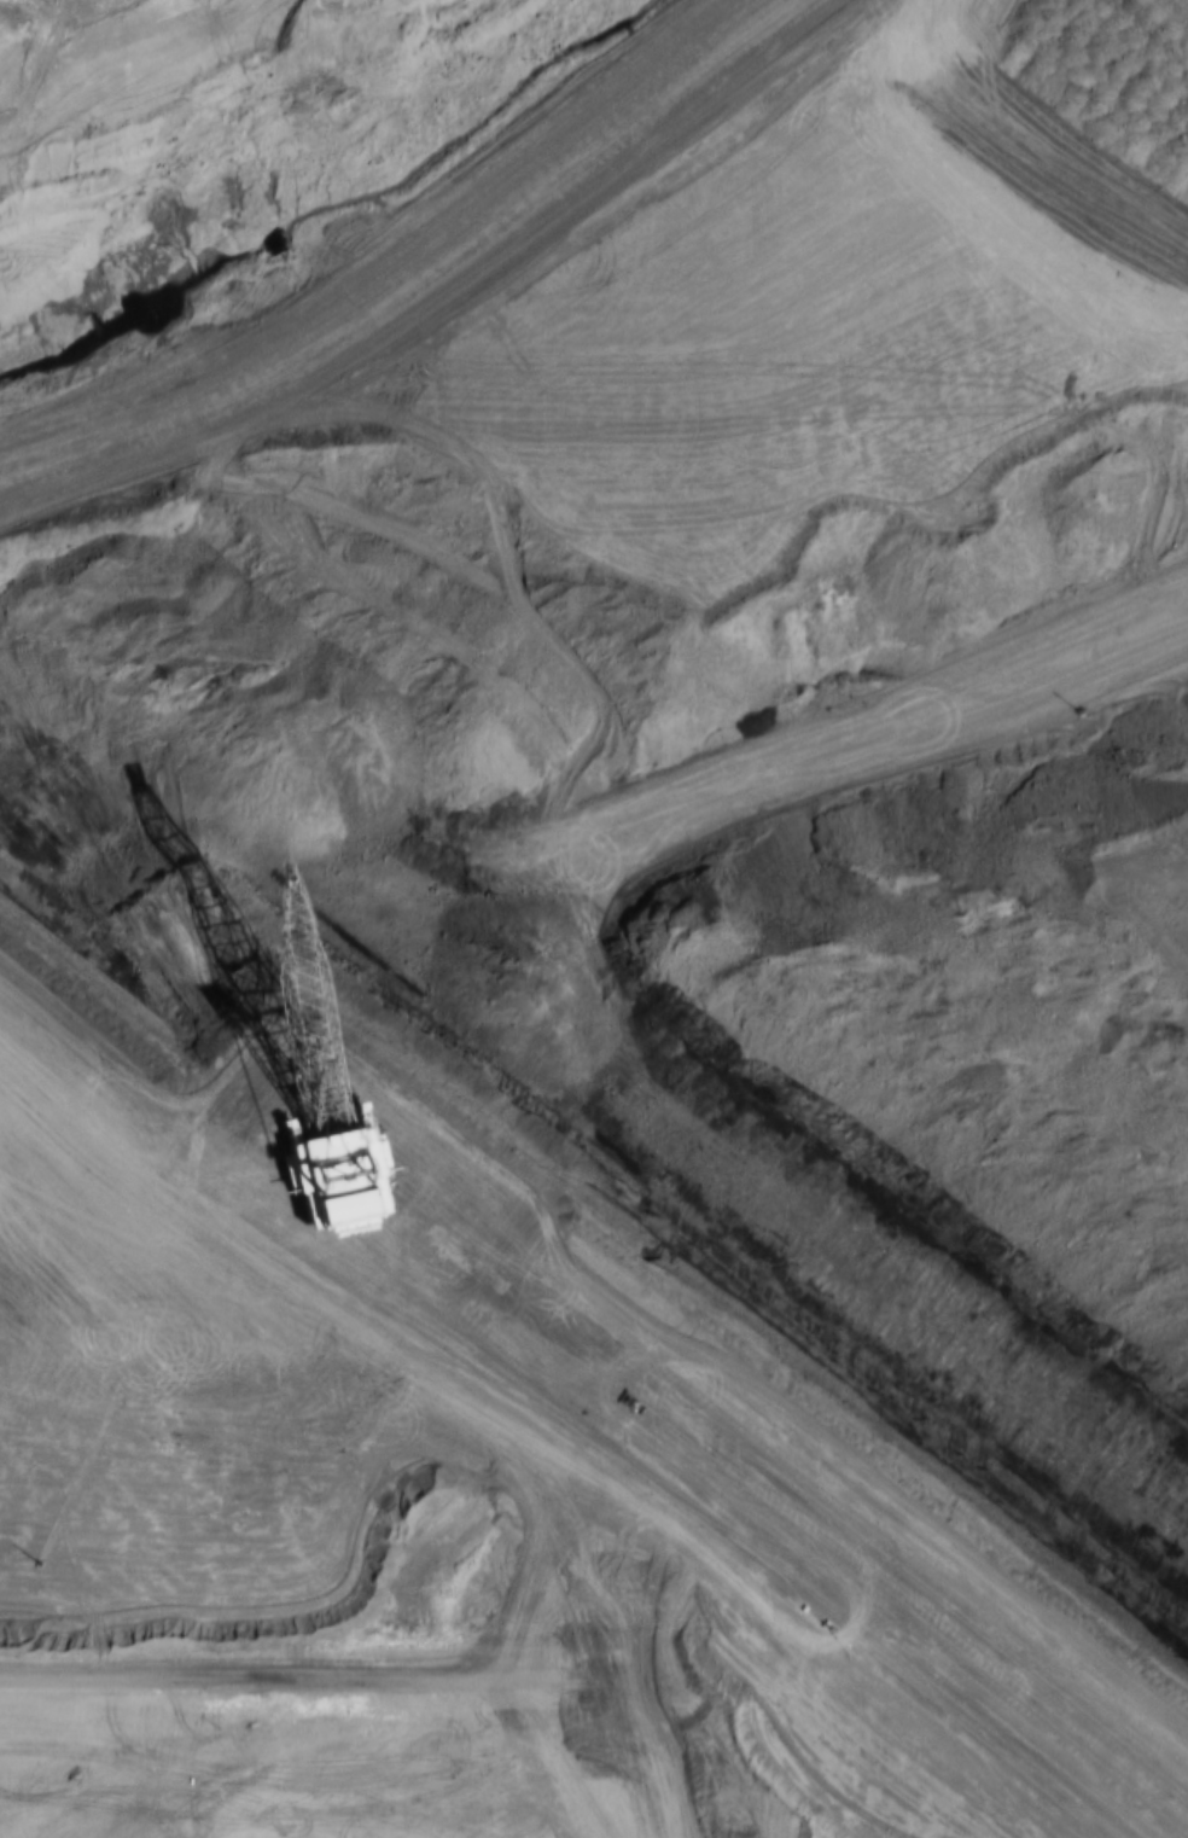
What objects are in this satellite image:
road: (593, 1687)

